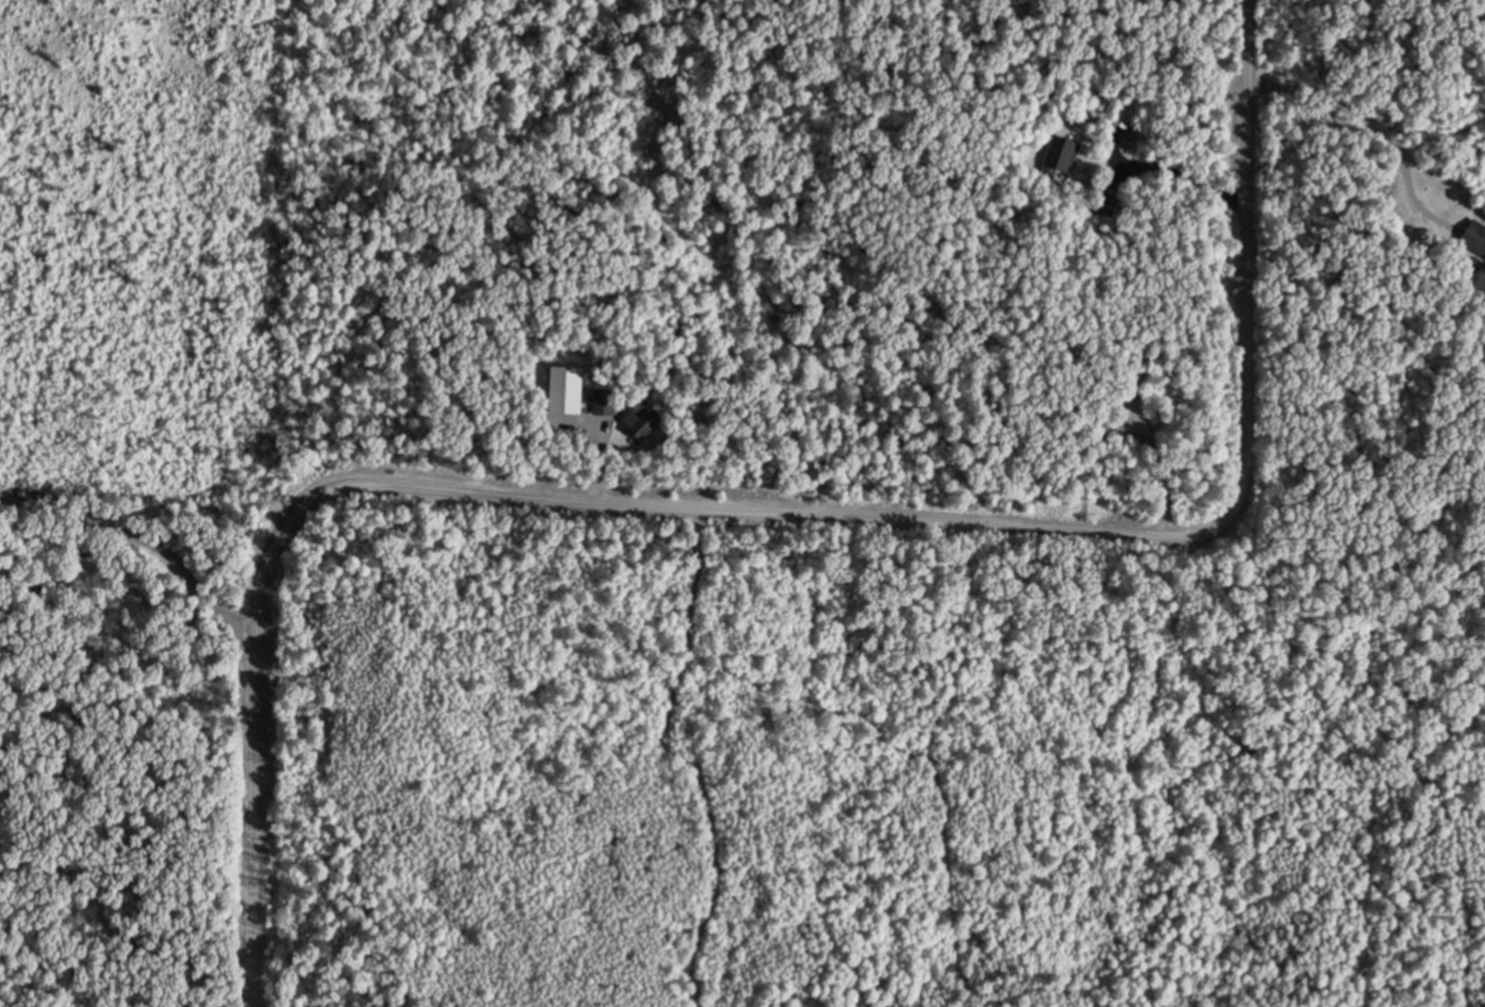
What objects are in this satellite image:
building: (1064, 151)
building: (1475, 234)
building: (647, 422)
road: (767, 512)
road: (131, 539)

